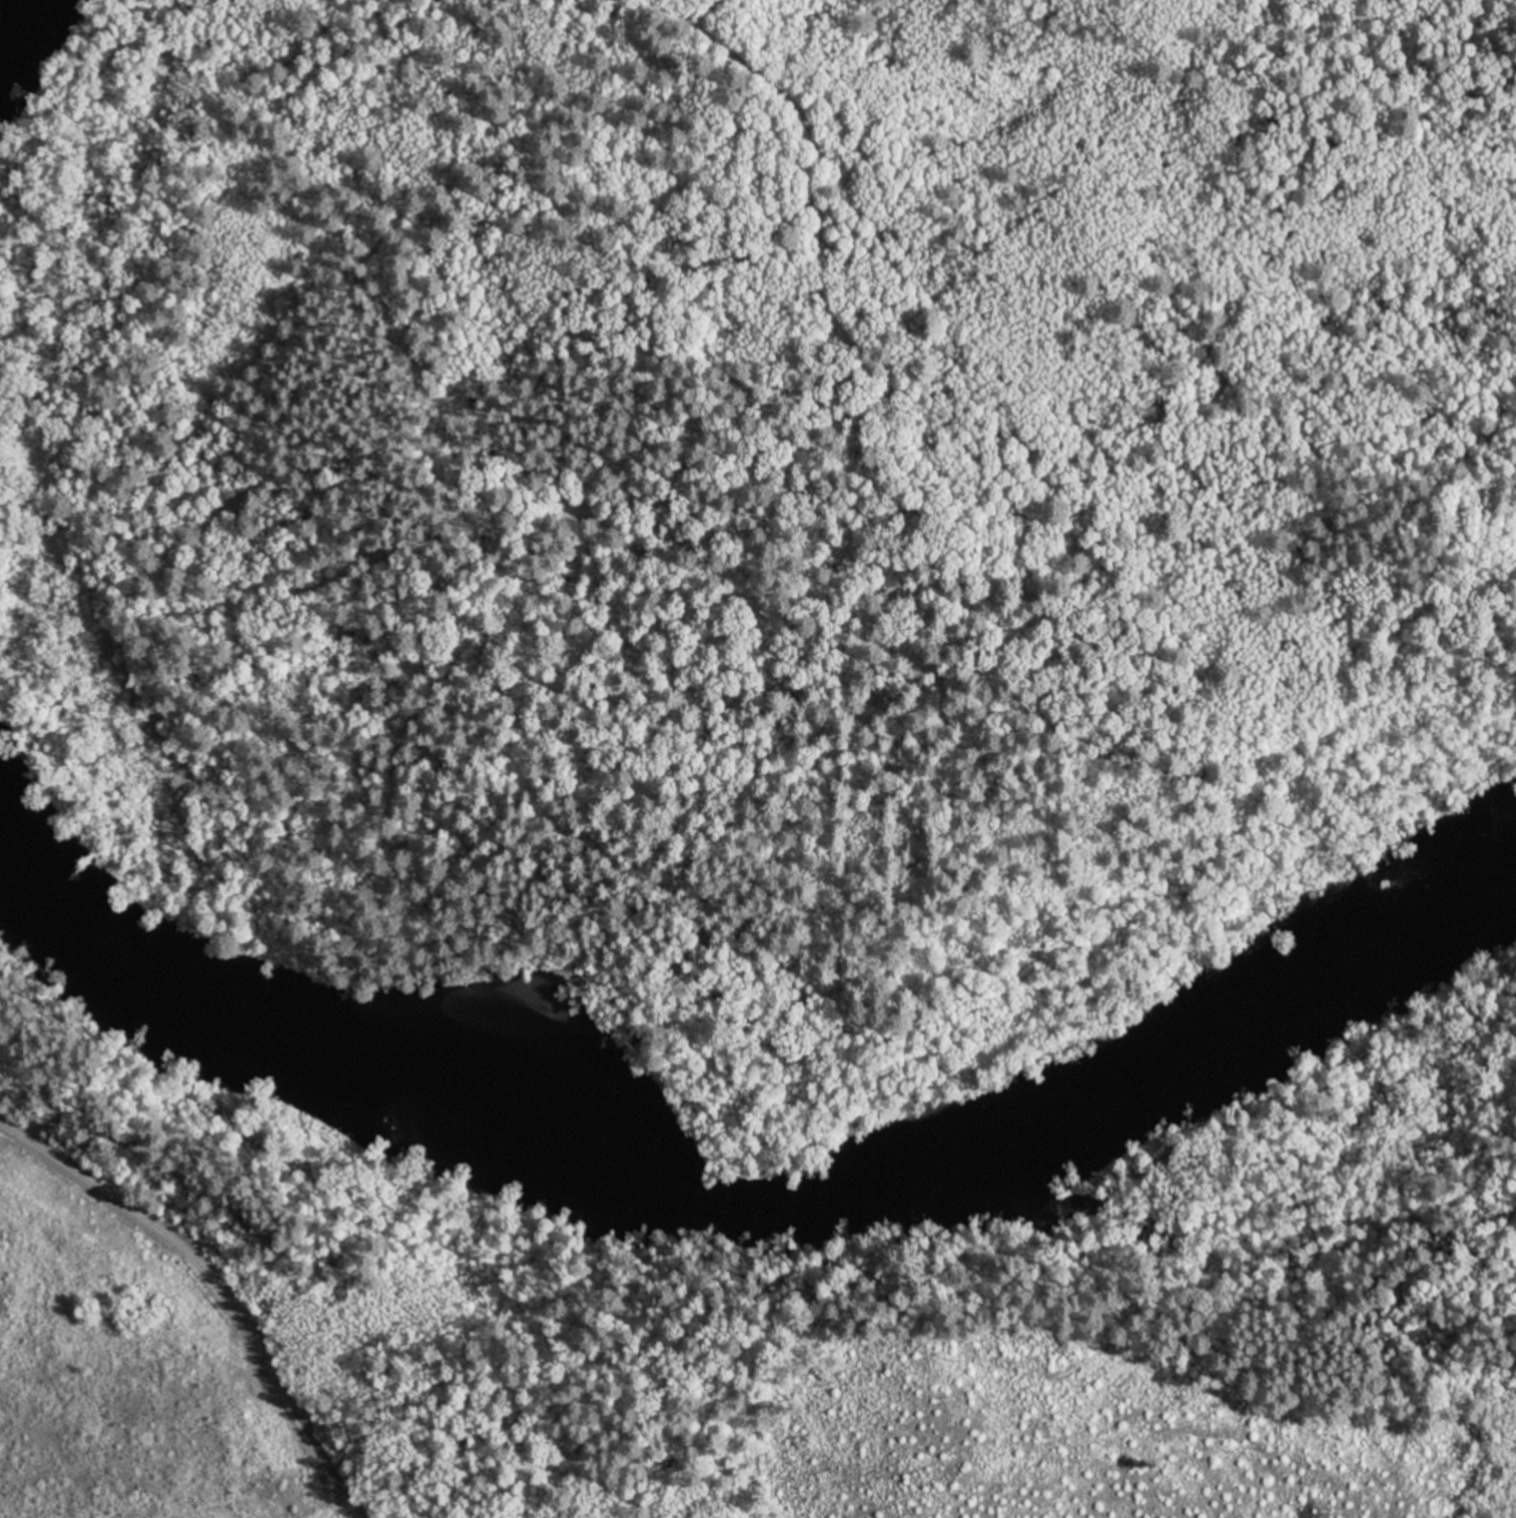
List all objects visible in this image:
river: (752, 1165)
road: (169, 1318)

